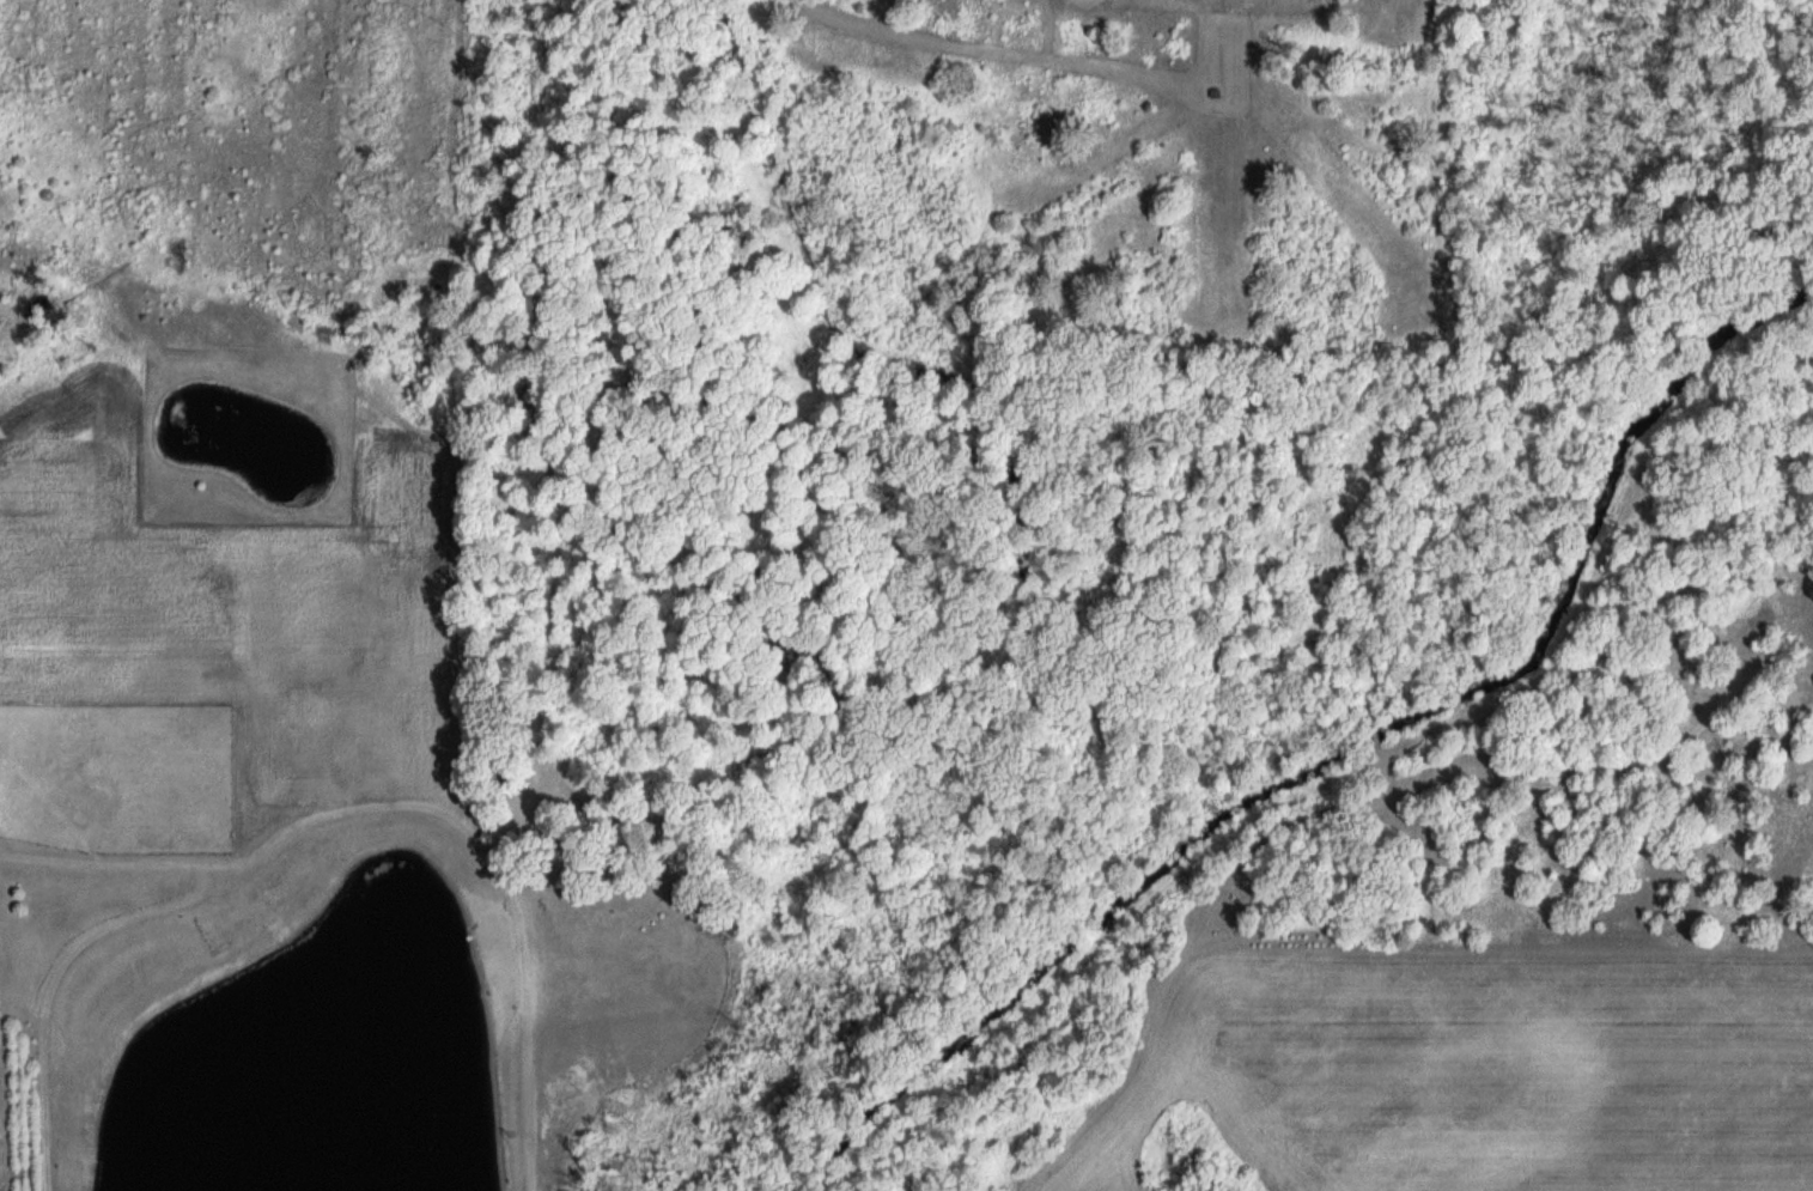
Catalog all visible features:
road: (1723, 701)

